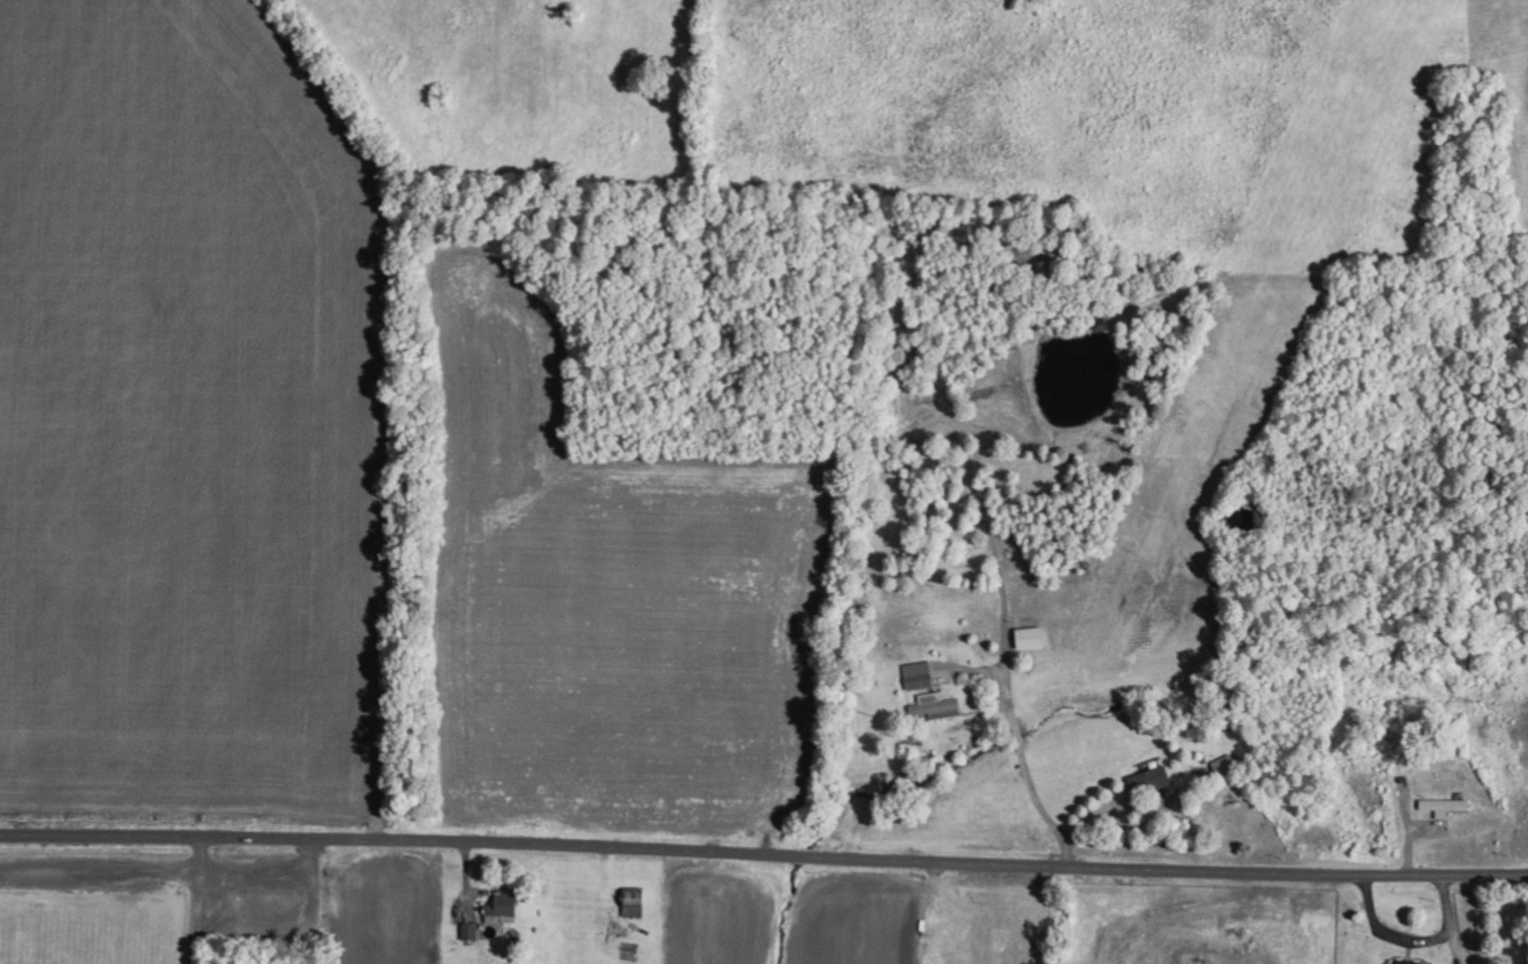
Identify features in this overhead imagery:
building: (1031, 638)
building: (920, 676)
building: (938, 707)
building: (1151, 783)
building: (1446, 807)
road: (764, 851)
road: (123, 898)
building: (635, 902)
park: (156, 907)
road: (69, 930)
building: (1408, 962)

